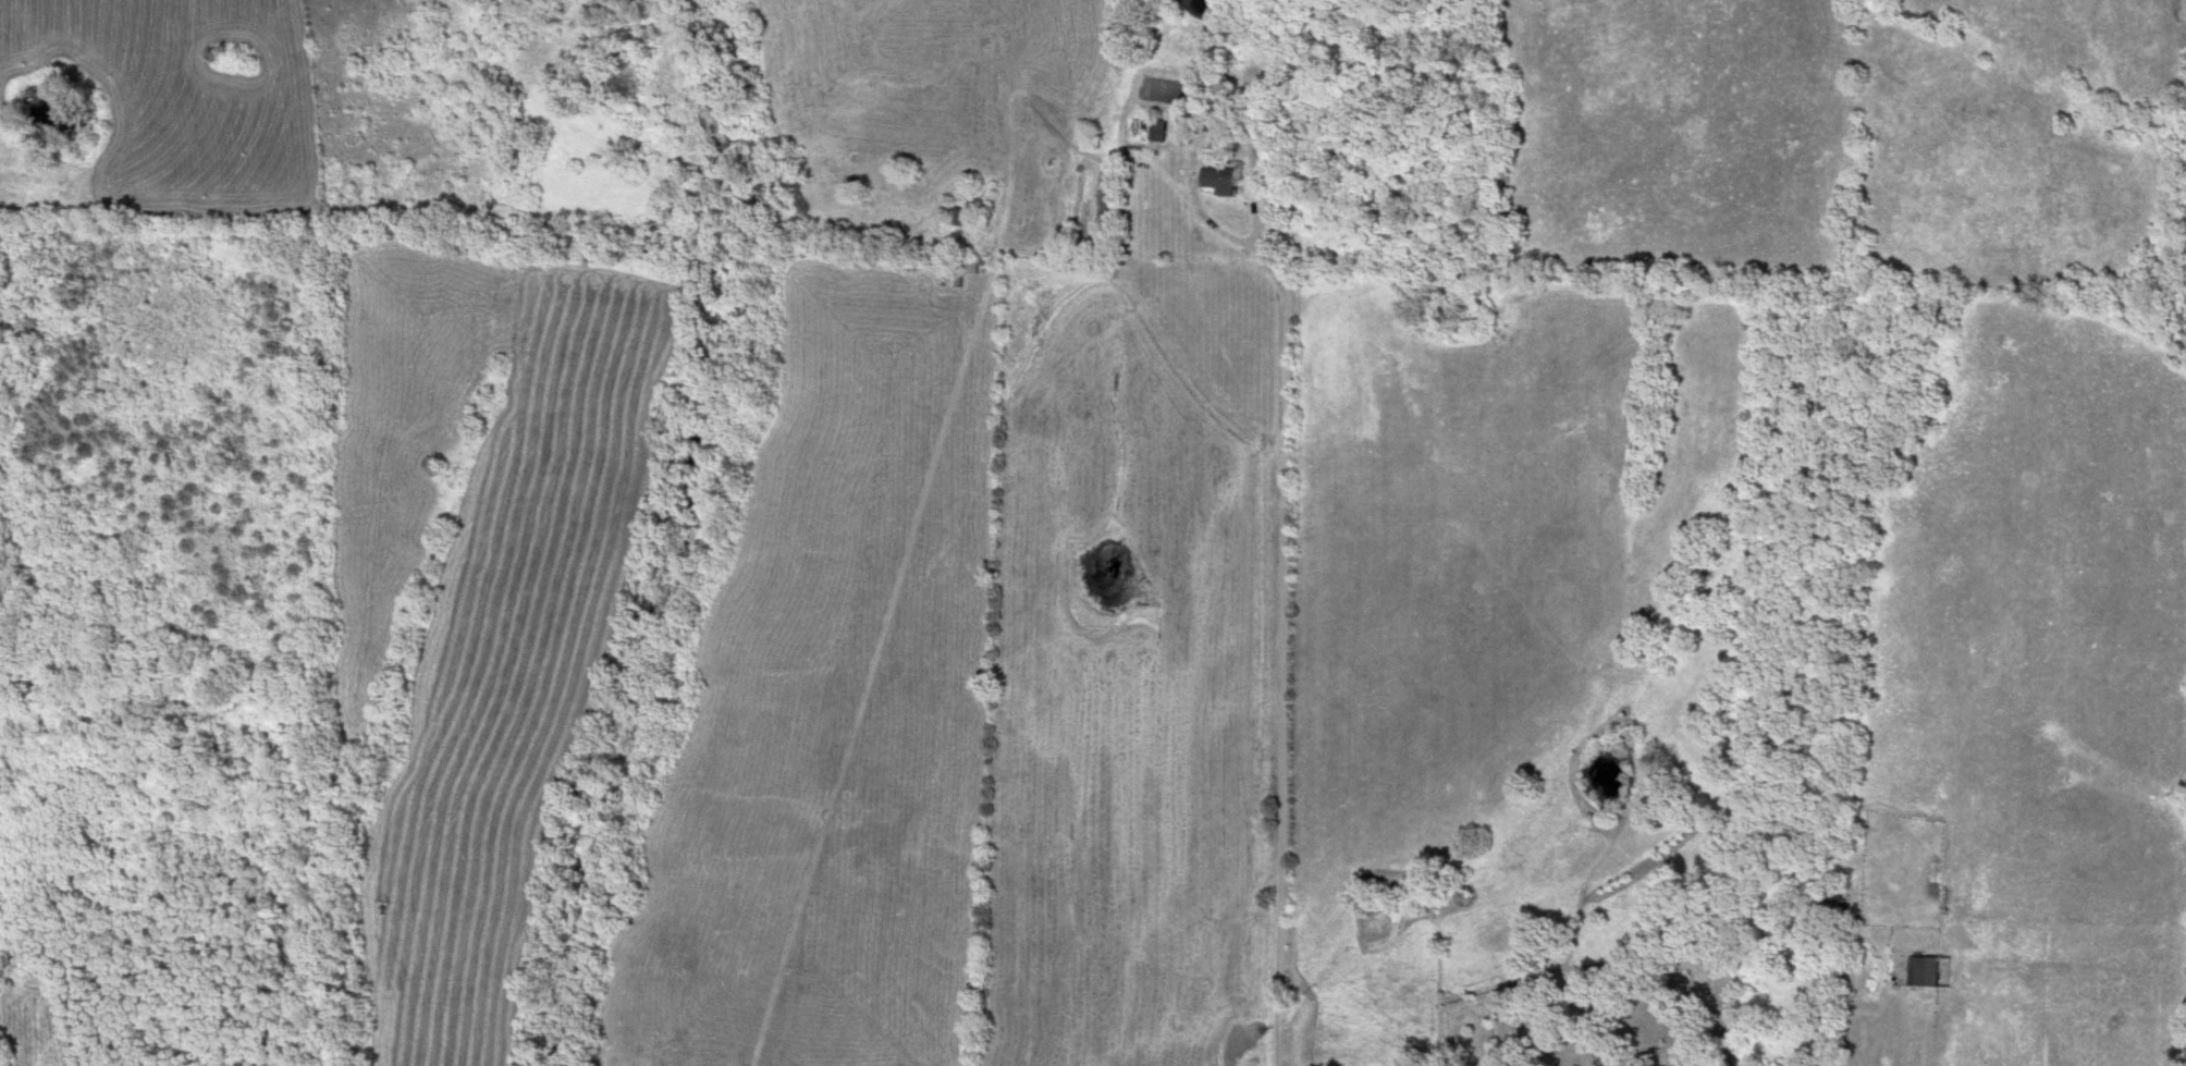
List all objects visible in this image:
building: (1157, 128)
building: (1220, 176)
building: (956, 212)
road: (1292, 647)
building: (1833, 907)
building: (1923, 971)

